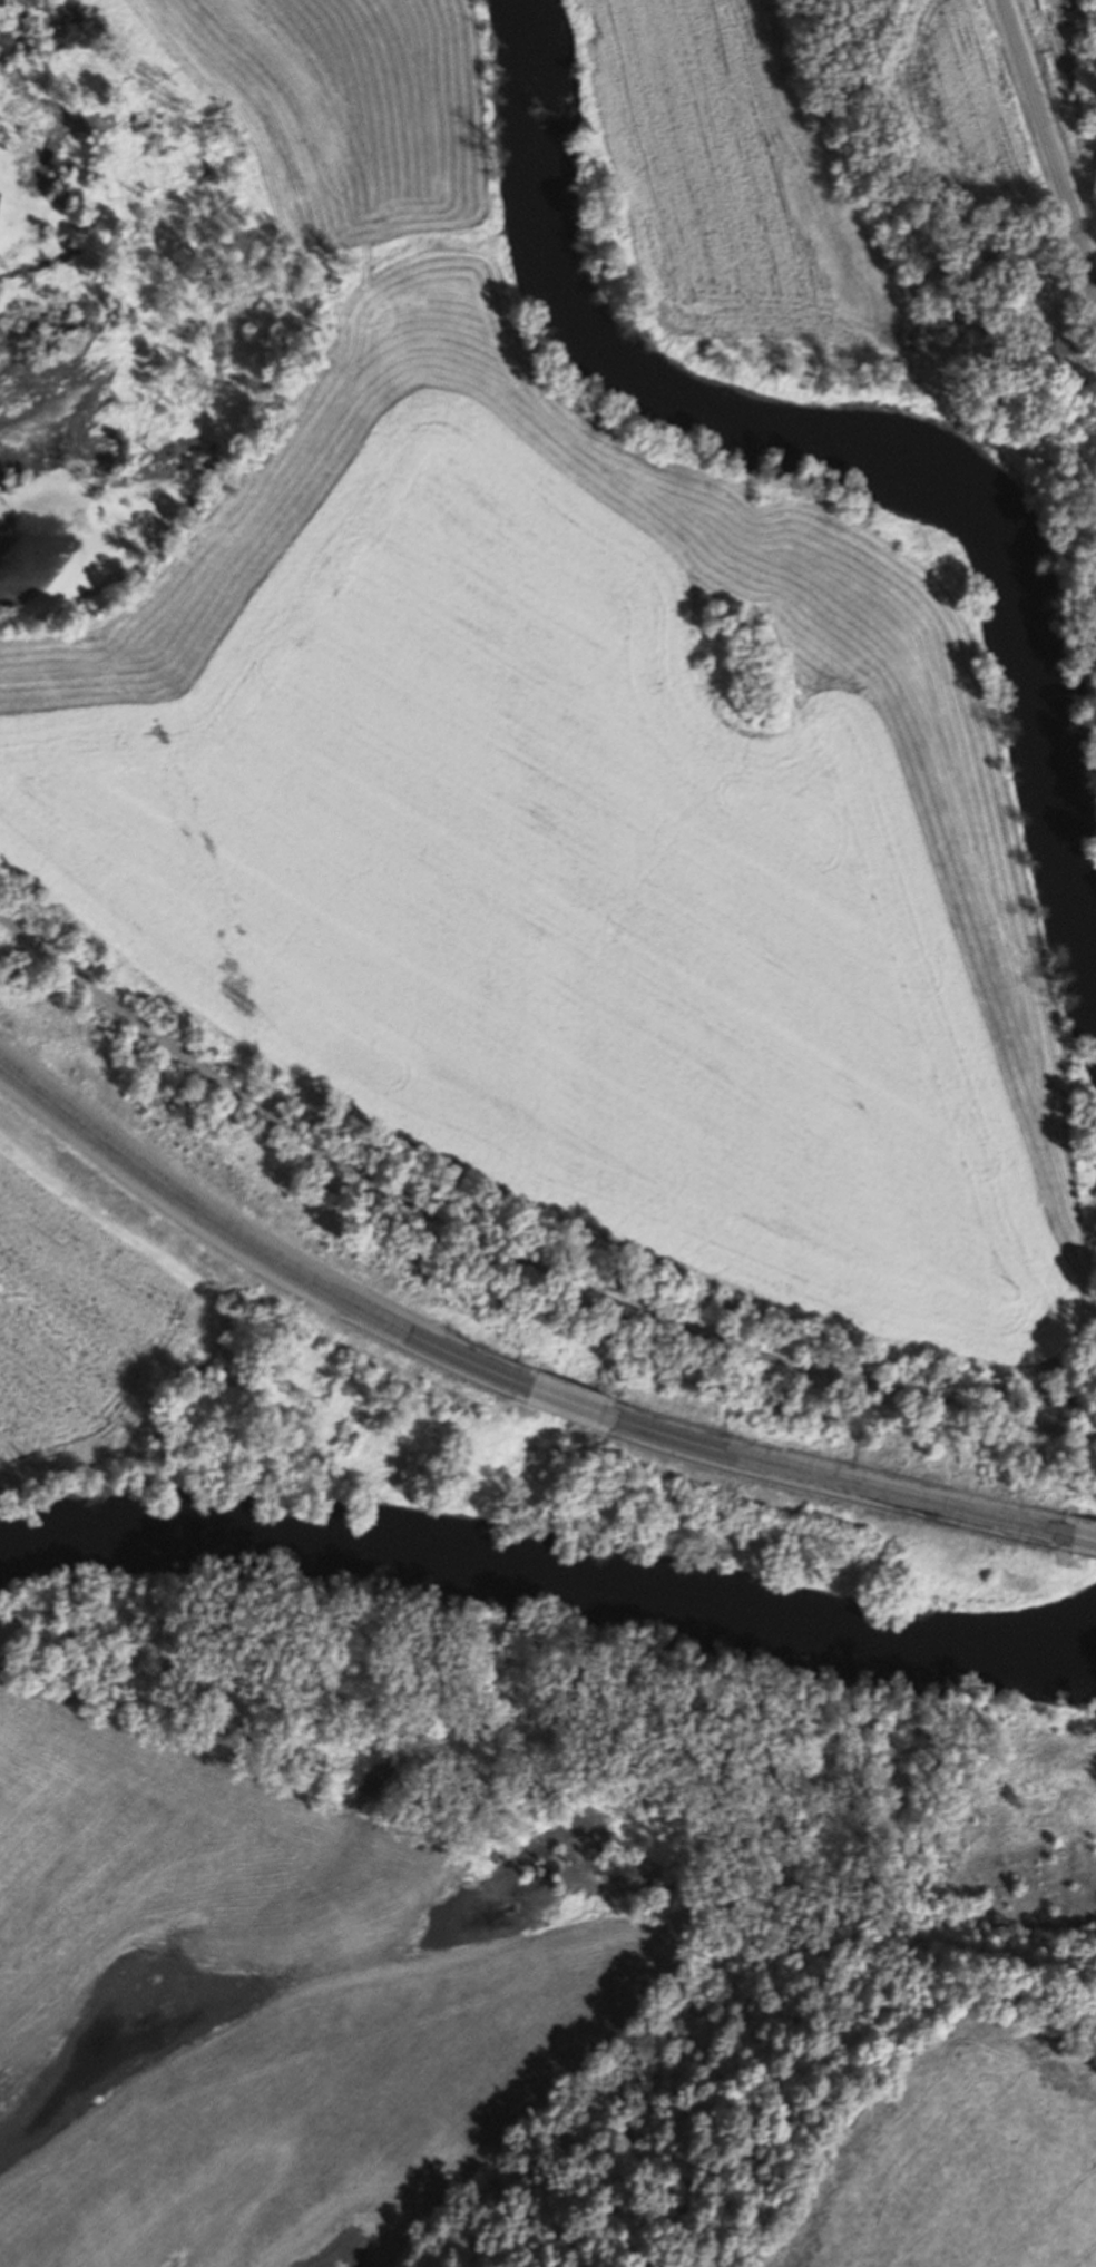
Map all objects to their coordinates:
road: (1049, 148)
road: (1065, 302)
building: (1035, 306)
building: (1054, 345)
river: (783, 419)
road: (244, 1243)
road: (511, 1253)
road: (567, 1401)
road: (847, 1477)
road: (1085, 1536)
river: (550, 1591)

